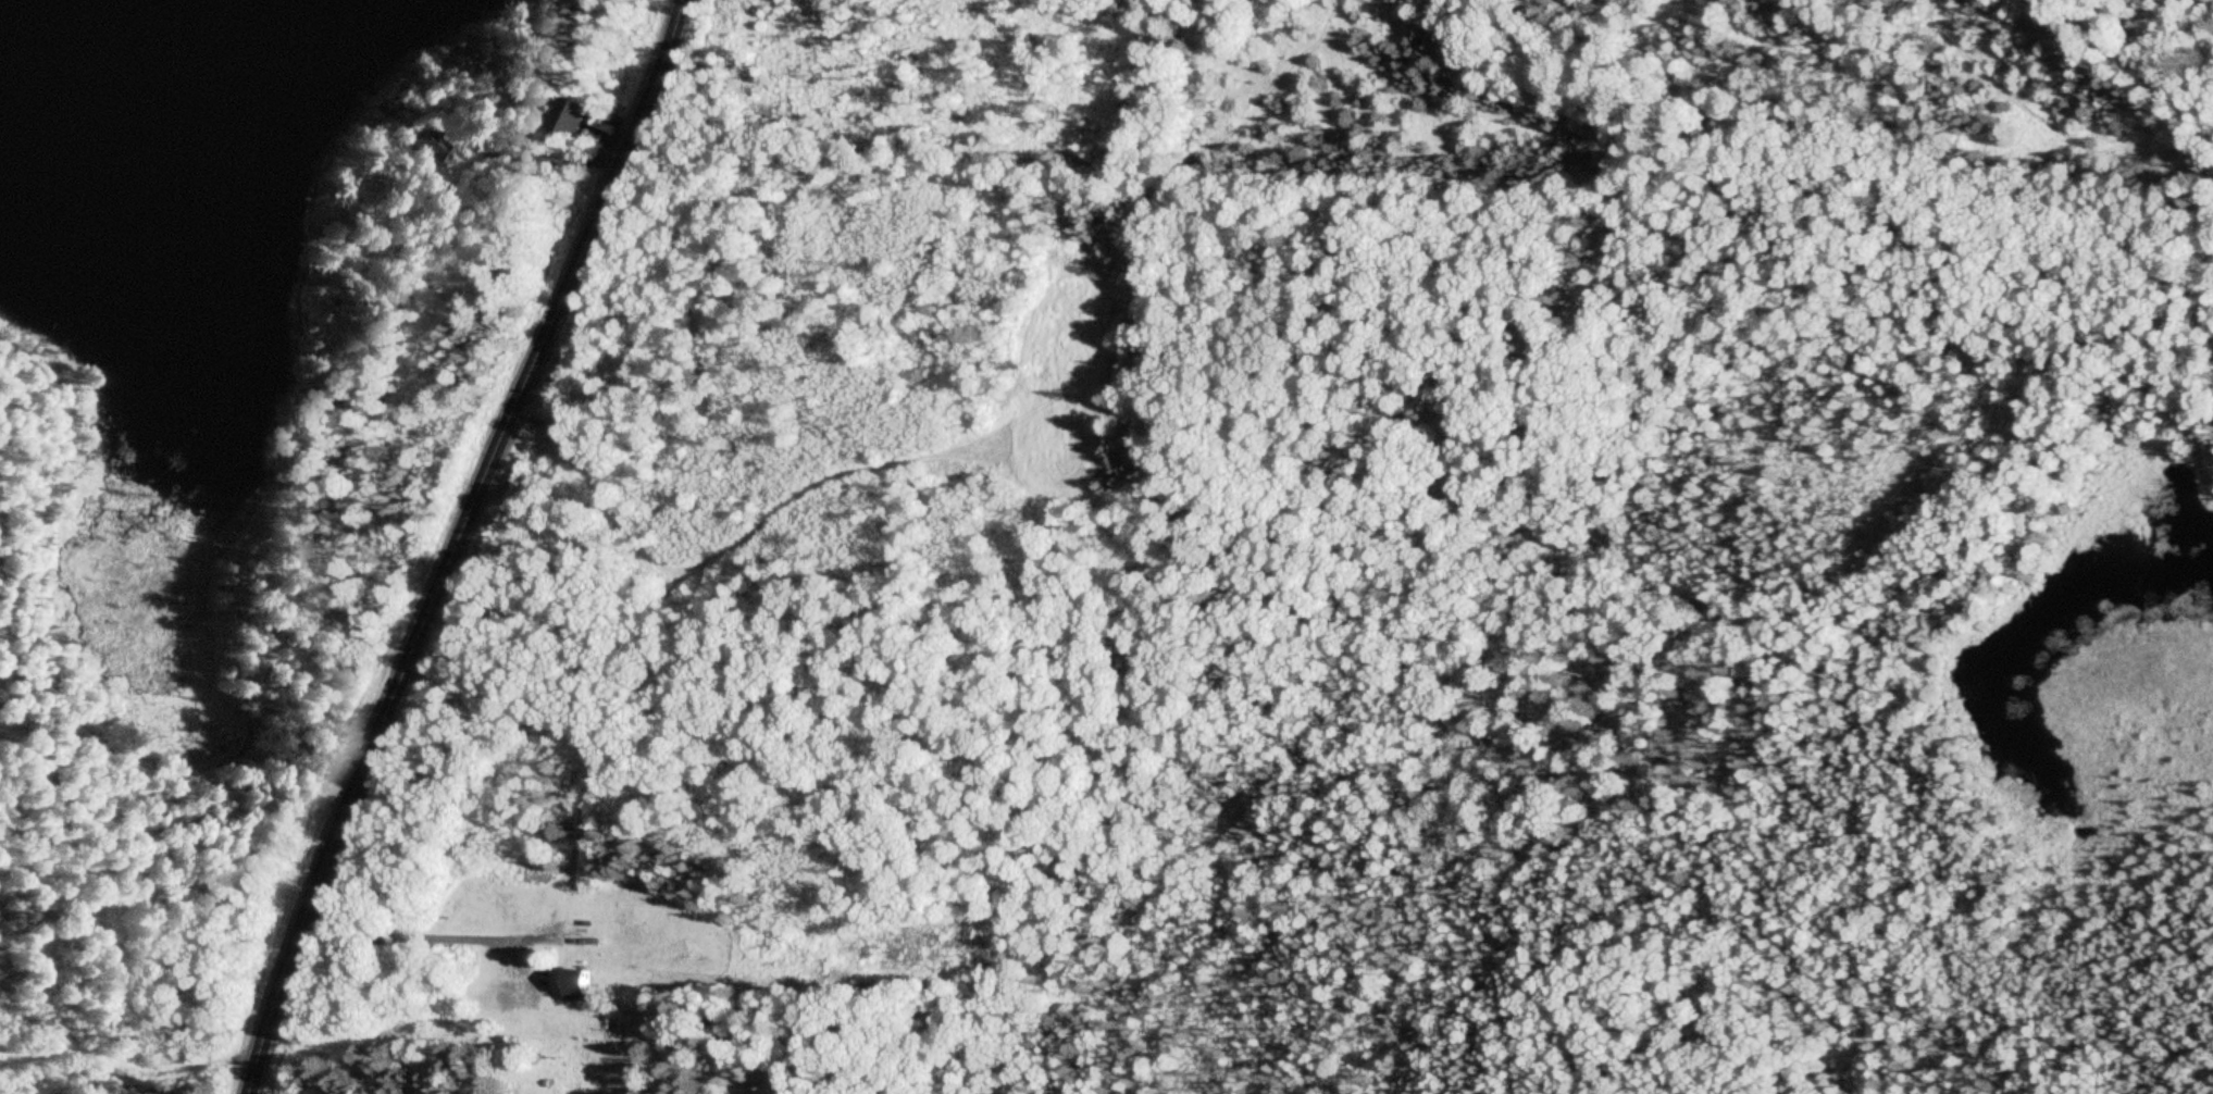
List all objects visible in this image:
building: (574, 119)
building: (426, 149)
road: (456, 543)
building: (585, 985)

